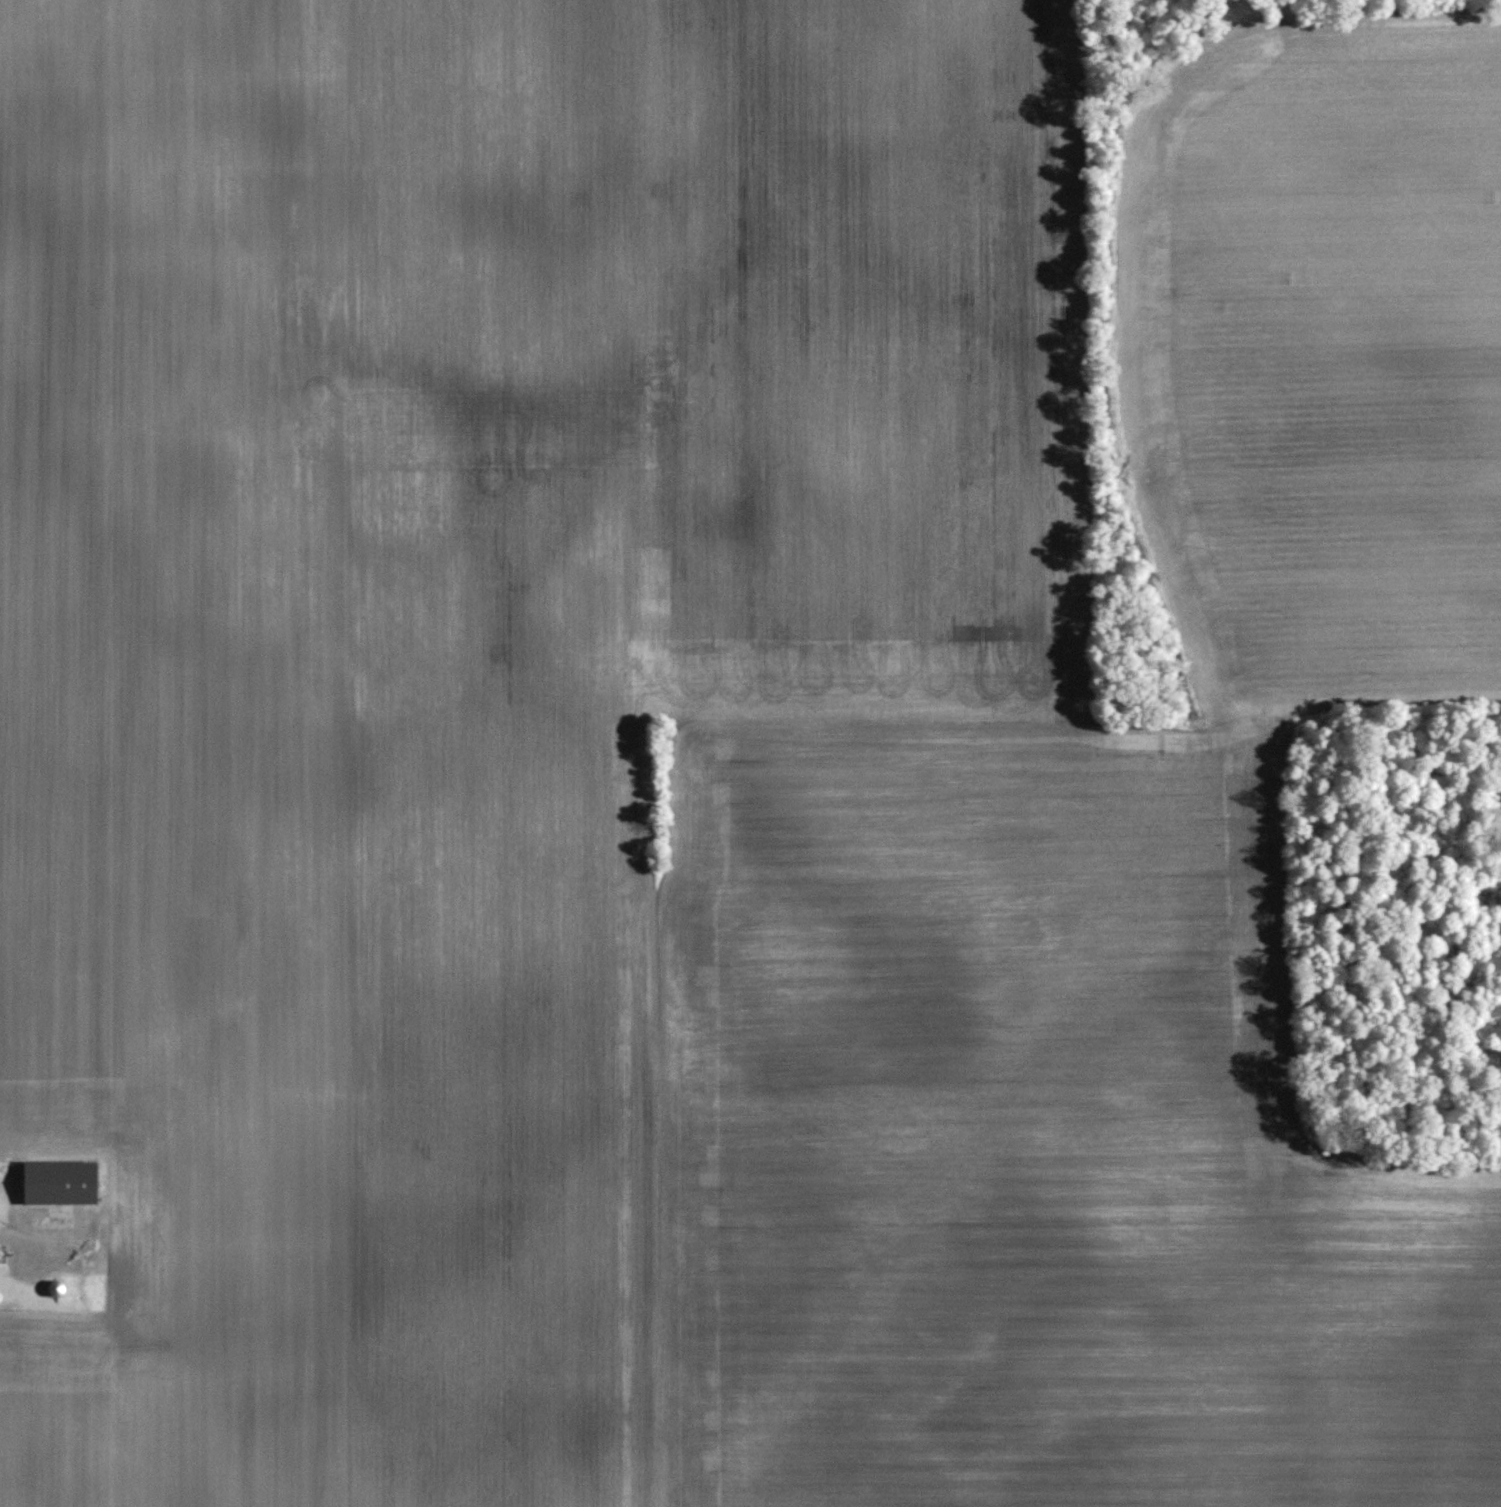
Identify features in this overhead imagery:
building: (57, 1181)

